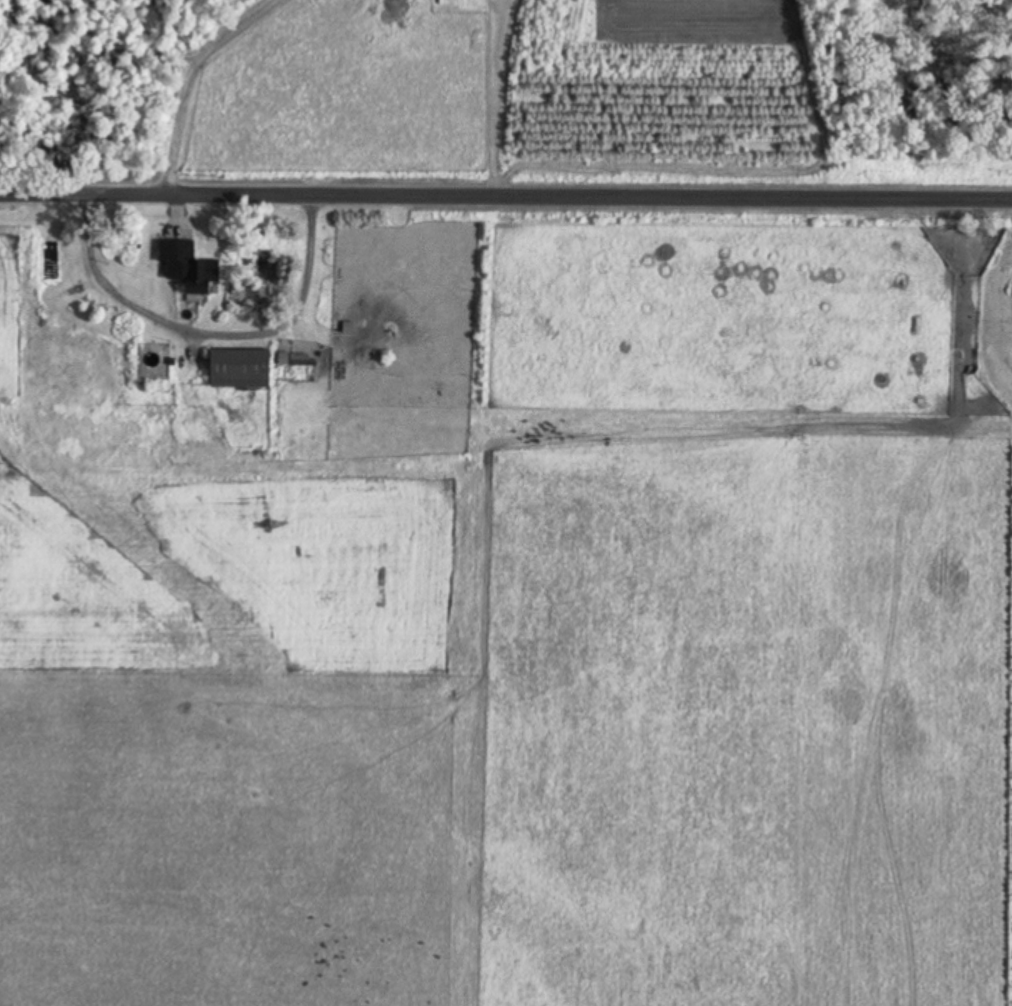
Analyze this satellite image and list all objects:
road: (506, 209)
building: (193, 268)
building: (155, 359)
building: (244, 367)

